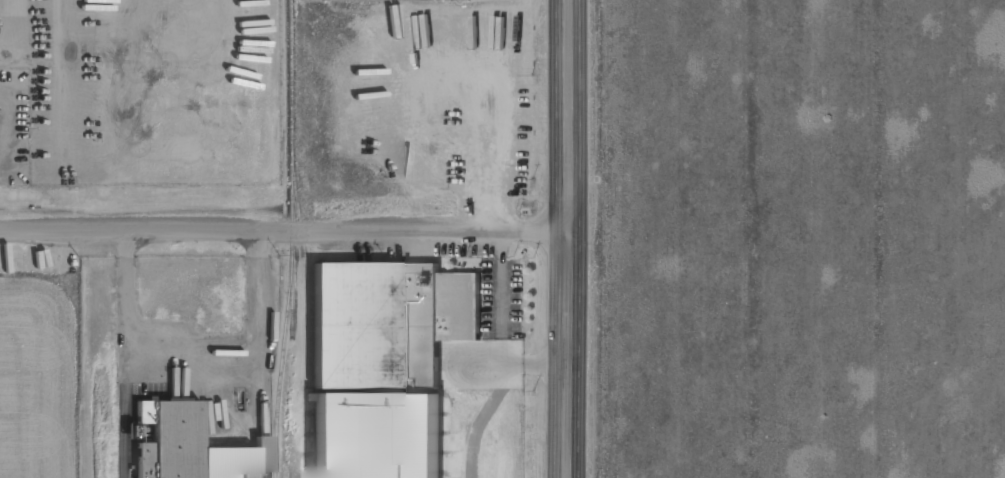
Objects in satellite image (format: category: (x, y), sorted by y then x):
road: (283, 229)
railway: (291, 239)
road: (567, 239)
railway: (306, 267)
road: (500, 279)
railway: (291, 299)
building: (383, 311)
road: (497, 394)
building: (377, 435)
building: (192, 447)

